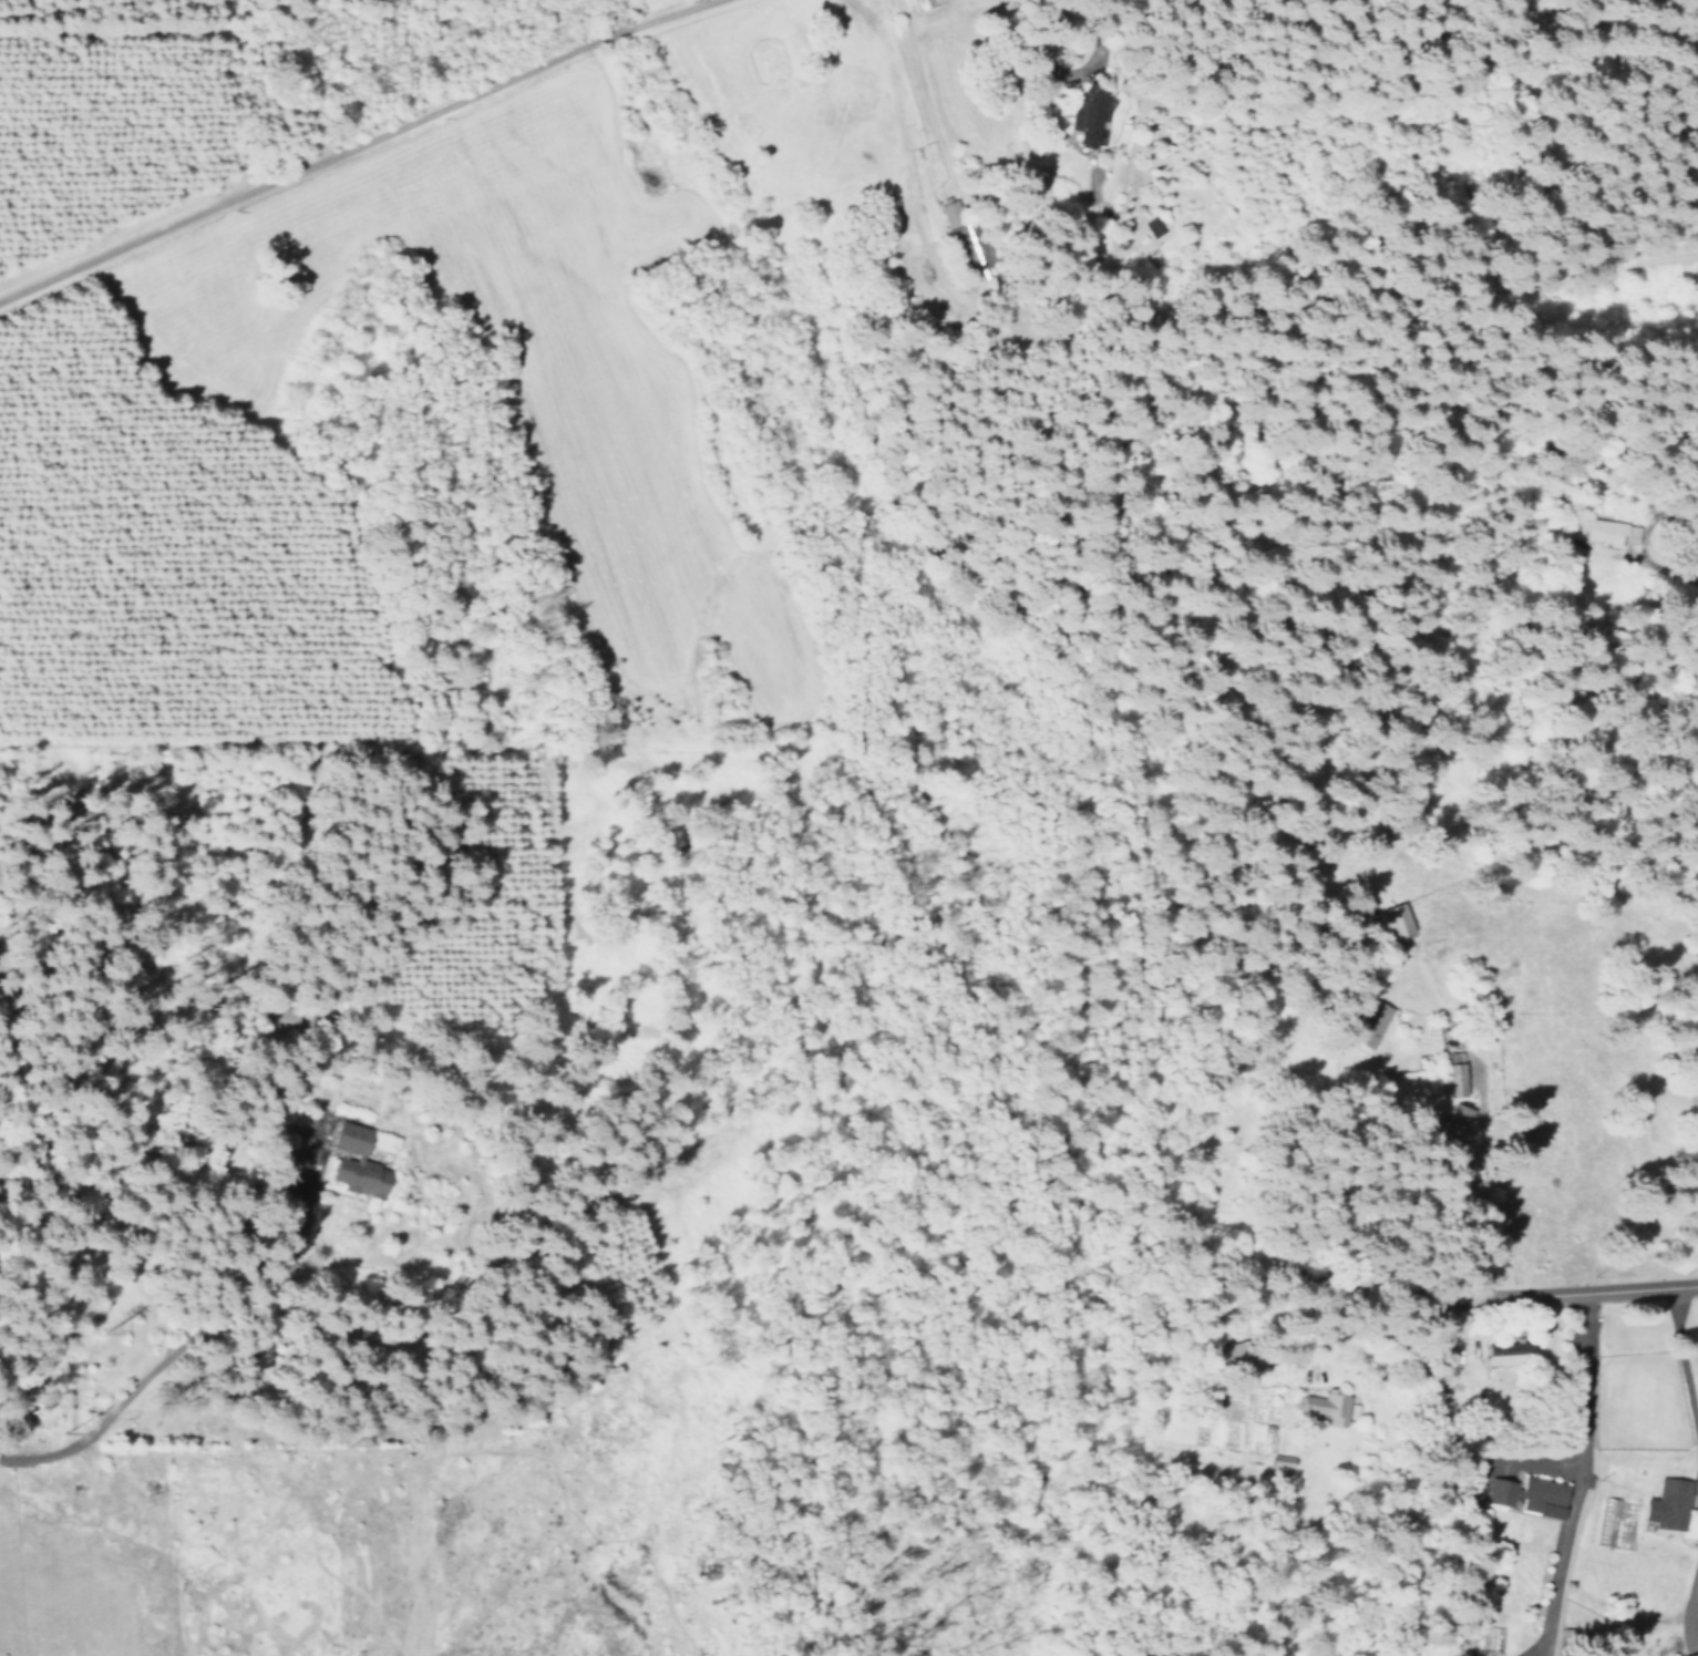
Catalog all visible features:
road: (954, 97)
building: (1089, 116)
road: (367, 147)
building: (1603, 531)
road: (1668, 586)
building: (1396, 919)
building: (1368, 1024)
building: (1451, 1079)
building: (1451, 1122)
building: (353, 1161)
road: (1561, 1292)
building: (1505, 1352)
building: (1325, 1407)
building: (1529, 1494)
building: (1668, 1508)
building: (1606, 1522)

